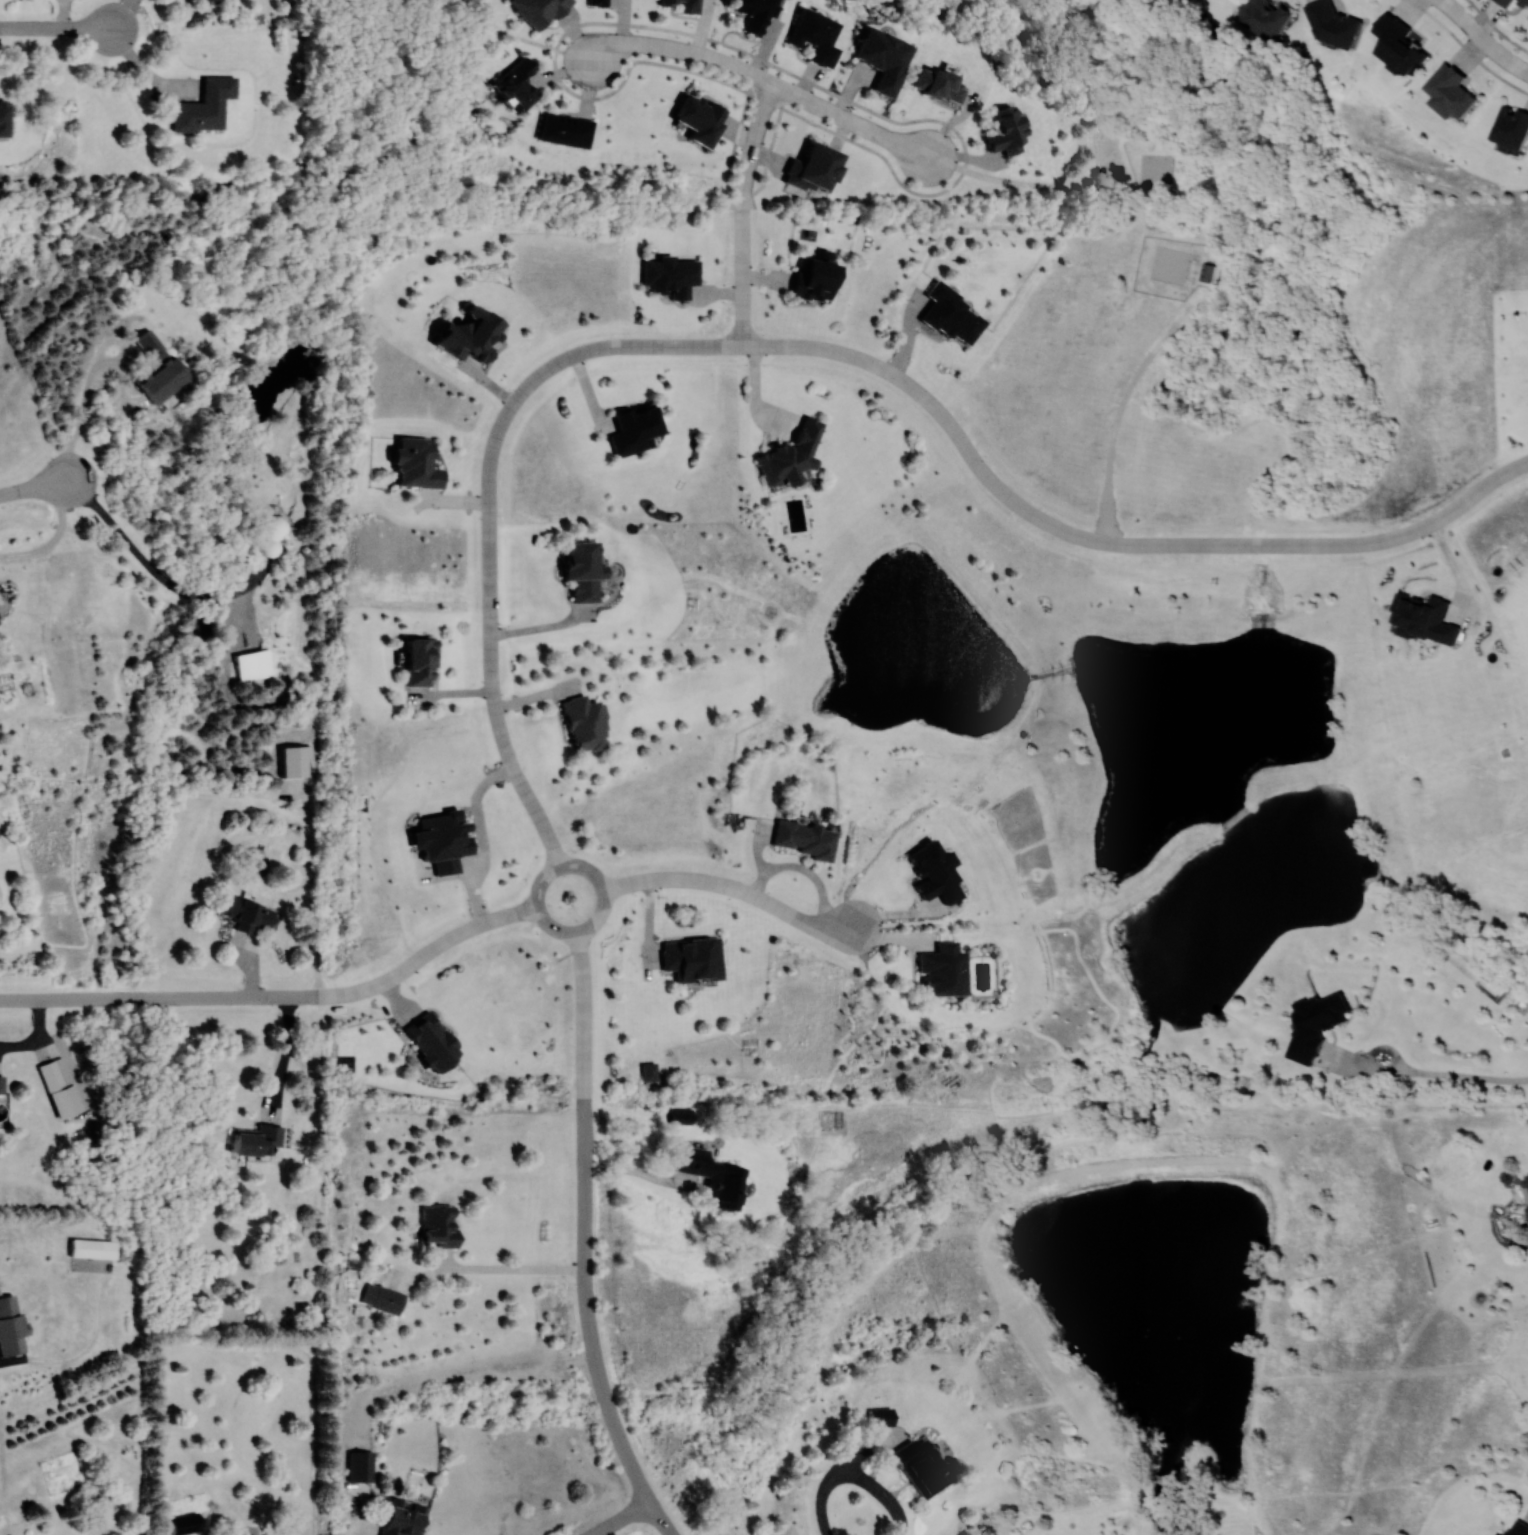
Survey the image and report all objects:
building: (215, 1)
building: (196, 2)
building: (598, 3)
building: (683, 5)
building: (540, 11)
building: (755, 14)
building: (1261, 18)
building: (1330, 25)
road: (1496, 27)
road: (56, 30)
building: (818, 36)
road: (1482, 38)
road: (1466, 46)
road: (682, 49)
road: (746, 53)
building: (887, 58)
road: (148, 72)
building: (519, 84)
building: (942, 84)
building: (206, 106)
building: (701, 119)
building: (5, 120)
road: (856, 122)
building: (1509, 126)
building: (566, 130)
road: (738, 131)
building: (1008, 131)
road: (767, 157)
building: (815, 168)
road: (742, 212)
building: (1210, 271)
building: (818, 279)
building: (954, 316)
building: (165, 379)
road: (81, 417)
building: (792, 452)
building: (418, 464)
road: (35, 488)
road: (999, 488)
building: (273, 529)
road: (54, 538)
road: (140, 556)
road: (1457, 569)
building: (583, 570)
building: (0, 622)
road: (489, 641)
building: (422, 662)
building: (254, 665)
road: (1347, 707)
building: (585, 723)
road: (1236, 814)
building: (807, 839)
road: (732, 886)
building: (247, 914)
road: (578, 929)
road: (427, 951)
building: (693, 960)
building: (945, 971)
road: (1118, 981)
road: (159, 998)
road: (583, 1017)
building: (1312, 1025)
road: (270, 1044)
road: (1370, 1057)
building: (55, 1075)
road: (1174, 1076)
road: (1466, 1076)
building: (2, 1083)
road: (788, 1106)
building: (682, 1117)
road: (998, 1129)
road: (1239, 1130)
road: (1083, 1135)
building: (259, 1141)
road: (634, 1171)
road: (1275, 1172)
building: (715, 1177)
building: (1525, 1189)
road: (986, 1195)
building: (439, 1226)
building: (94, 1249)
road: (517, 1269)
building: (383, 1300)
road: (586, 1309)
building: (10, 1327)
road: (826, 1353)
road: (1066, 1364)
building: (875, 1417)
building: (915, 1468)
road: (853, 1476)
road: (1169, 1480)
road: (1212, 1491)
road: (1246, 1499)
road: (1252, 1515)
road: (1240, 1516)
building: (403, 1517)
road: (619, 1519)
road: (655, 1519)
building: (184, 1524)
road: (357, 1526)
building: (1516, 1528)
road: (1249, 1533)

